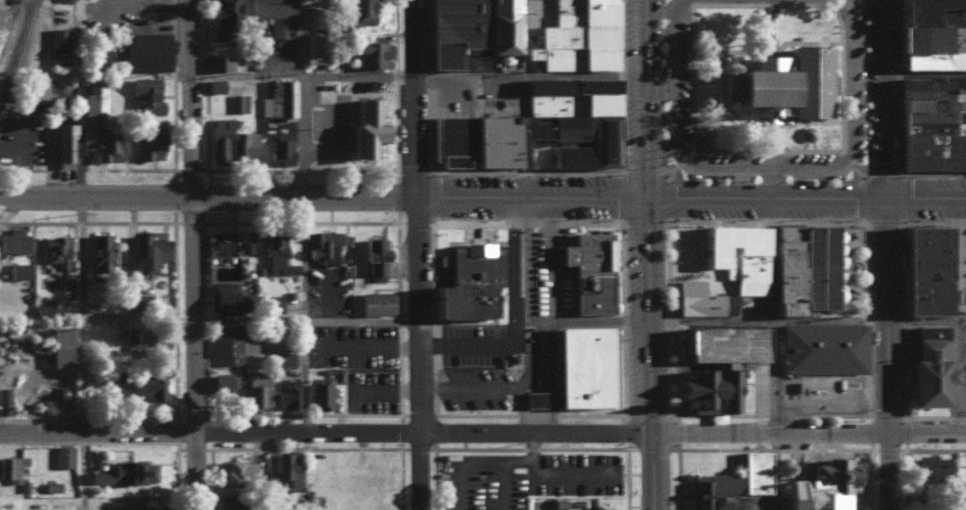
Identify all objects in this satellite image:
road: (687, 1)
road: (838, 6)
building: (357, 10)
building: (273, 15)
building: (219, 18)
building: (469, 32)
road: (429, 33)
building: (930, 33)
road: (205, 34)
building: (575, 36)
building: (56, 45)
building: (311, 49)
building: (144, 50)
building: (371, 51)
building: (219, 61)
road: (206, 74)
road: (303, 75)
railway: (22, 76)
road: (428, 76)
road: (445, 77)
building: (778, 83)
building: (212, 84)
road: (620, 85)
road: (898, 85)
building: (32, 87)
road: (360, 90)
building: (144, 94)
road: (192, 97)
building: (279, 97)
road: (416, 97)
road: (645, 97)
road: (881, 97)
road: (349, 98)
building: (90, 100)
building: (239, 101)
road: (427, 113)
building: (929, 123)
building: (362, 127)
road: (396, 127)
building: (534, 127)
building: (218, 138)
building: (148, 139)
building: (60, 141)
building: (102, 142)
building: (243, 144)
road: (428, 146)
building: (279, 148)
road: (758, 149)
road: (683, 156)
road: (845, 157)
road: (429, 161)
road: (767, 167)
road: (206, 168)
road: (302, 169)
road: (352, 169)
road: (414, 170)
road: (641, 170)
road: (858, 170)
road: (527, 171)
road: (932, 171)
road: (664, 175)
road: (860, 177)
road: (770, 182)
road: (396, 194)
road: (323, 195)
traffic signals: (646, 196)
road: (806, 196)
road: (432, 209)
road: (202, 217)
road: (900, 217)
road: (526, 219)
road: (768, 219)
road: (933, 220)
road: (248, 221)
road: (300, 221)
road: (354, 221)
road: (641, 221)
building: (14, 240)
building: (223, 243)
building: (325, 245)
building: (55, 249)
building: (100, 250)
building: (146, 250)
building: (736, 254)
building: (275, 255)
road: (300, 255)
building: (373, 257)
road: (396, 262)
road: (901, 266)
road: (202, 267)
road: (621, 267)
road: (672, 267)
building: (801, 267)
road: (866, 267)
building: (18, 269)
building: (921, 269)
building: (586, 270)
road: (432, 277)
building: (68, 280)
building: (469, 281)
building: (225, 296)
building: (695, 298)
building: (270, 302)
building: (376, 302)
road: (546, 307)
road: (769, 313)
road: (80, 314)
road: (647, 314)
road: (193, 315)
road: (766, 317)
road: (622, 318)
road: (867, 318)
road: (202, 319)
road: (305, 320)
road: (672, 320)
road: (925, 320)
road: (398, 321)
building: (928, 330)
road: (901, 336)
road: (432, 343)
building: (58, 345)
building: (230, 345)
building: (822, 347)
road: (419, 352)
road: (867, 353)
road: (888, 353)
building: (280, 358)
road: (546, 362)
road: (433, 364)
building: (715, 364)
building: (581, 365)
road: (203, 369)
building: (927, 371)
road: (674, 373)
building: (337, 374)
building: (112, 380)
building: (223, 383)
road: (469, 384)
building: (146, 386)
road: (434, 386)
building: (256, 390)
building: (285, 392)
building: (320, 393)
road: (832, 394)
building: (538, 398)
road: (623, 403)
road: (519, 409)
road: (903, 409)
road: (251, 413)
road: (397, 413)
road: (417, 413)
road: (465, 413)
road: (724, 413)
road: (303, 414)
road: (534, 414)
road: (954, 416)
road: (964, 416)
road: (624, 429)
road: (677, 432)
road: (711, 432)
road: (870, 432)
traffic signals: (650, 433)
road: (325, 435)
building: (62, 455)
road: (483, 460)
building: (10, 466)
building: (289, 466)
building: (925, 467)
building: (235, 471)
road: (564, 471)
road: (650, 471)
building: (754, 471)
road: (774, 471)
road: (81, 472)
building: (121, 472)
road: (195, 472)
building: (51, 485)
building: (820, 486)
building: (712, 490)
building: (224, 502)
building: (274, 504)
building: (140, 508)
building: (594, 508)

